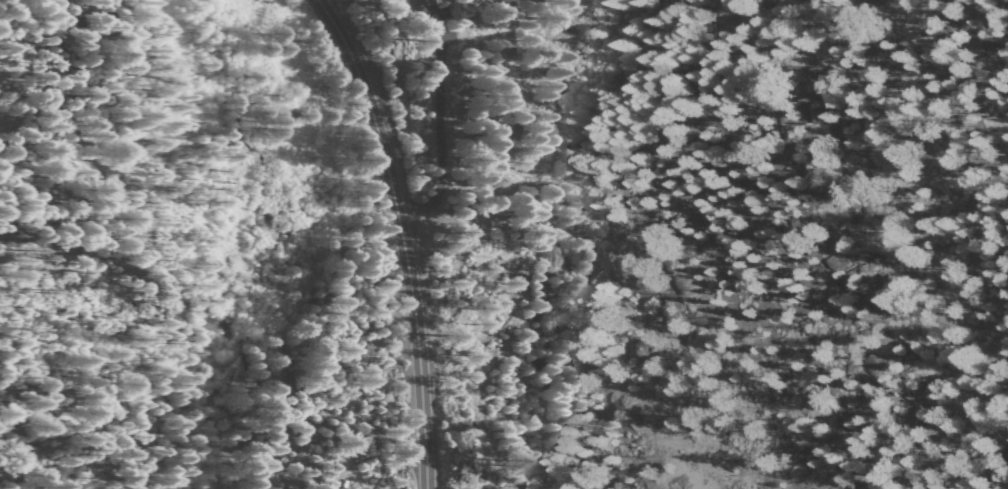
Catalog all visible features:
building: (417, 1)
road: (435, 27)
road: (25, 105)
road: (441, 144)
road: (401, 237)
road: (13, 309)
road: (361, 387)
road: (1002, 458)
road: (993, 461)

